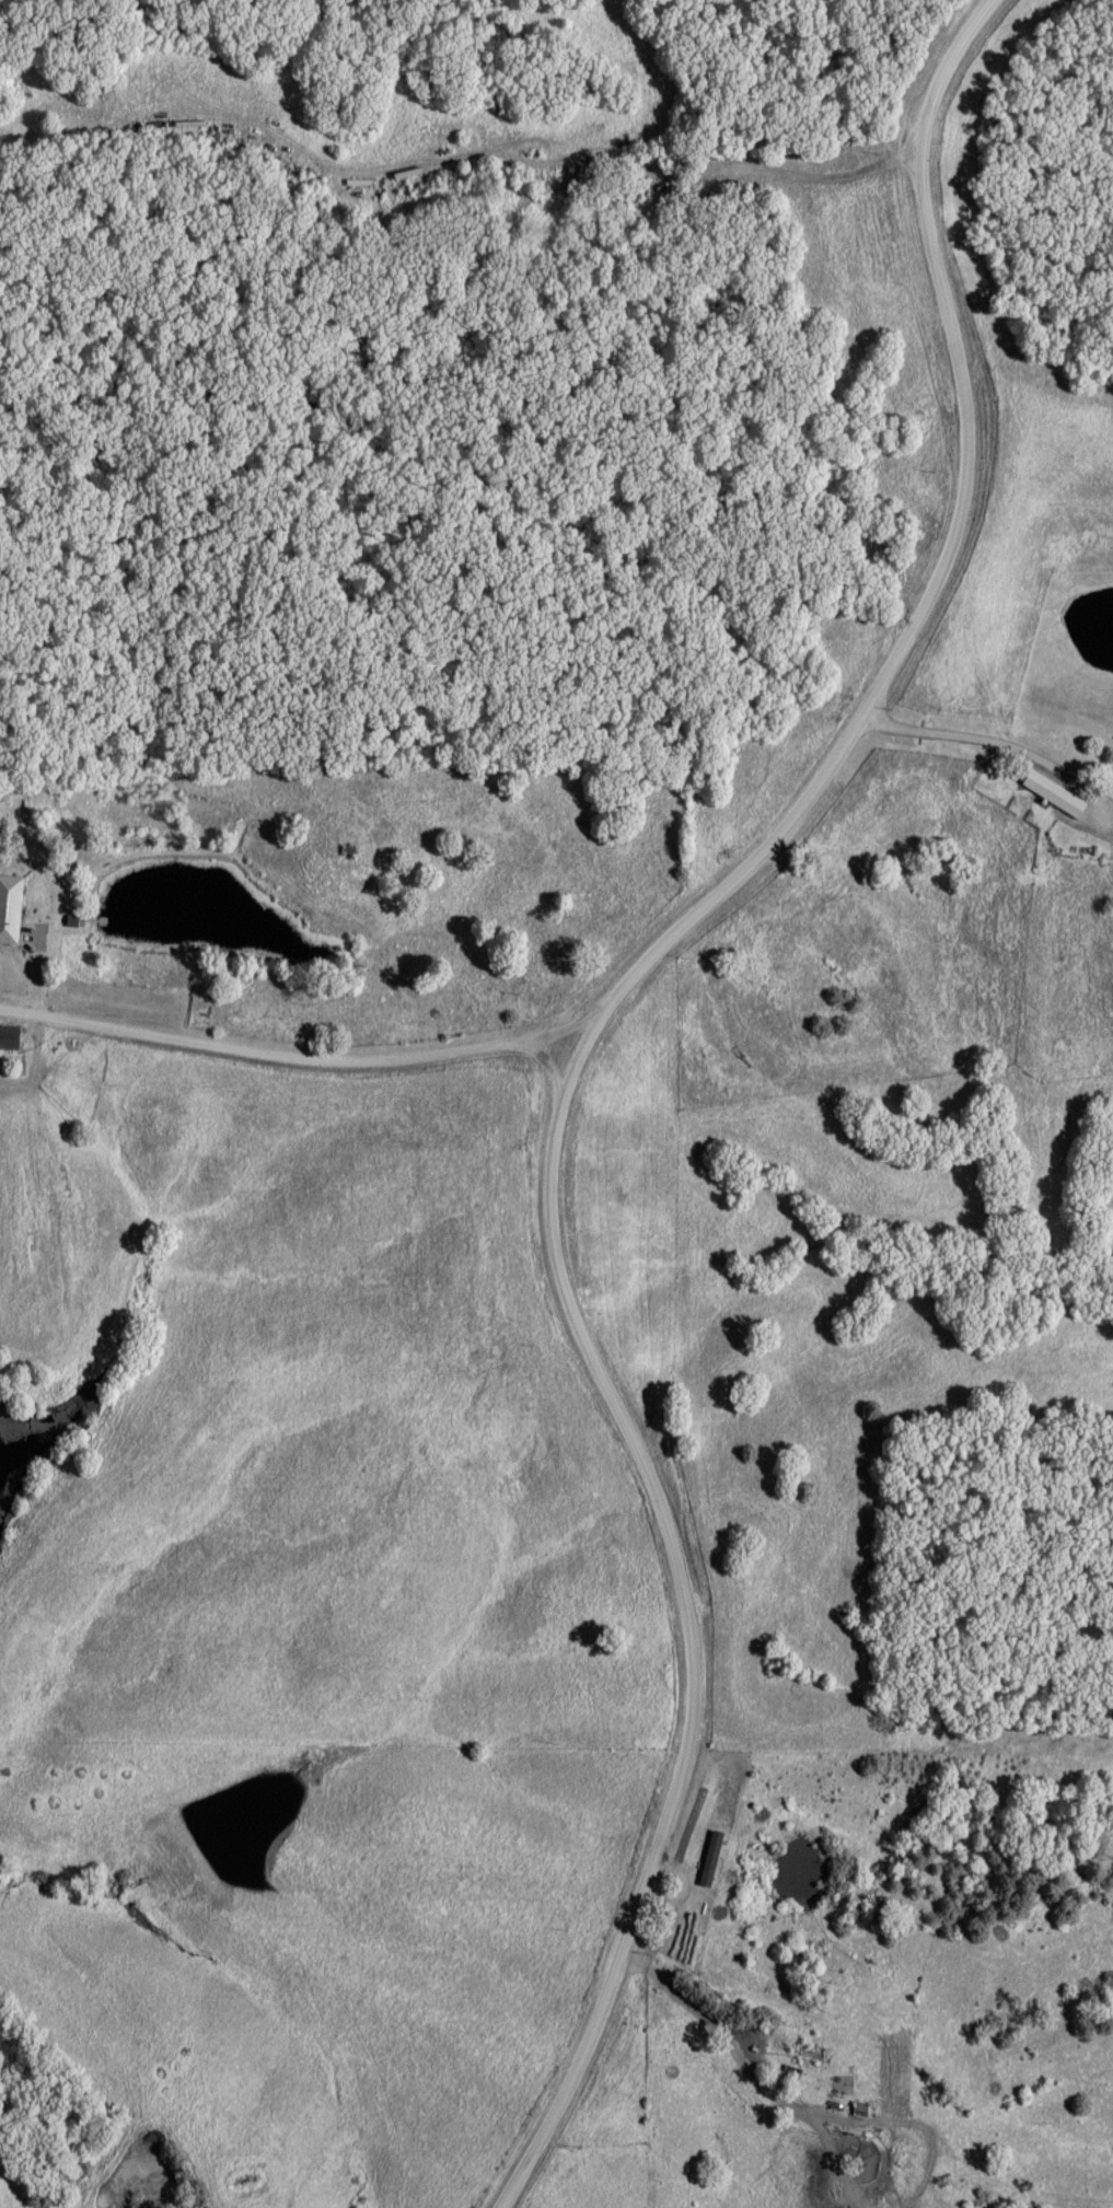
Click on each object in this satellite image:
road: (937, 578)
road: (999, 743)
building: (1058, 794)
building: (4, 815)
building: (11, 909)
building: (11, 1038)
road: (277, 1054)
road: (684, 1630)
building: (715, 1859)
building: (808, 2049)
building: (911, 2166)

